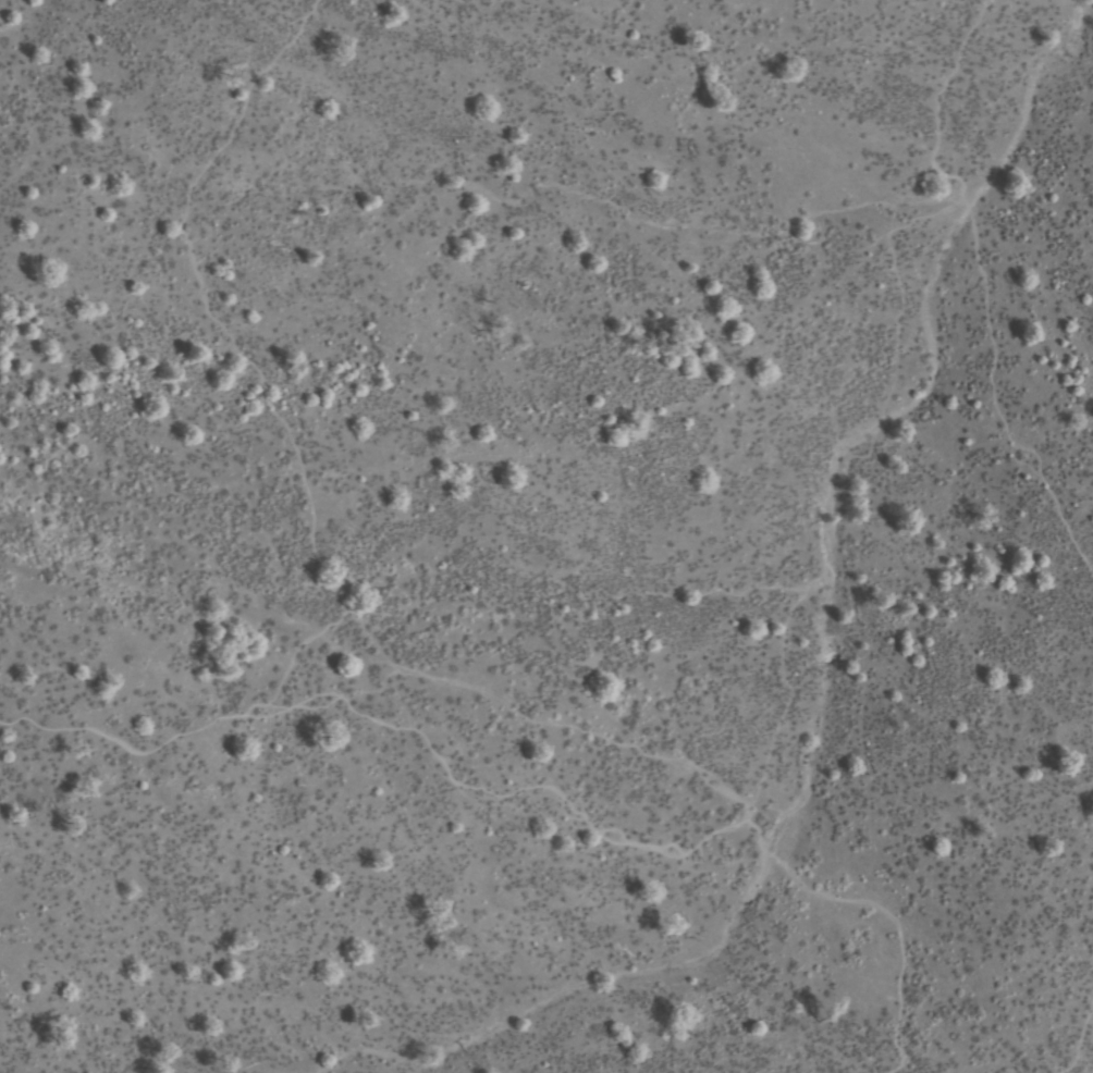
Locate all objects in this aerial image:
road: (300, 479)

